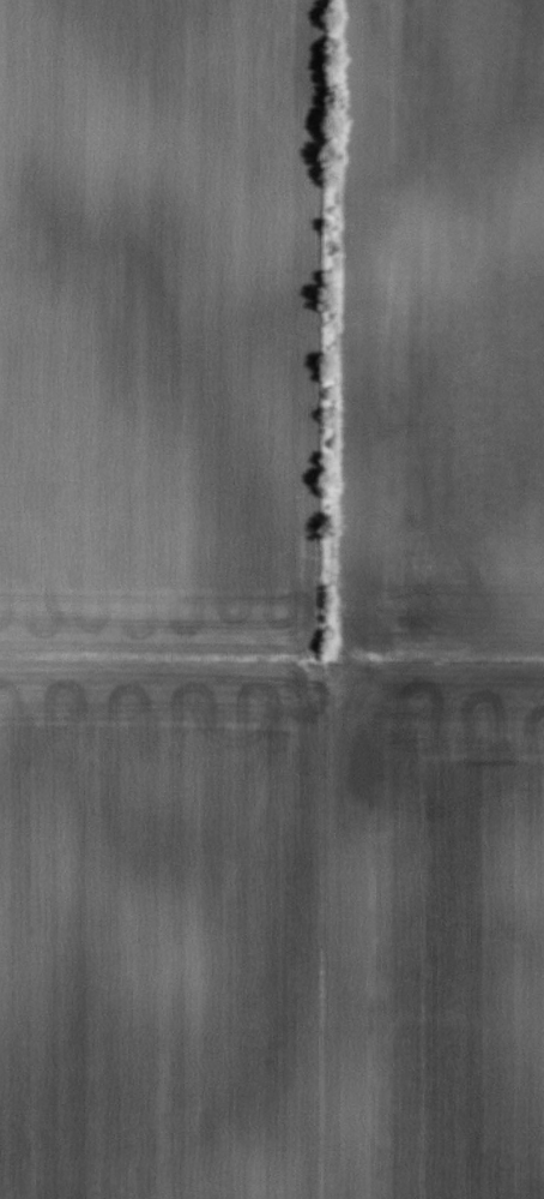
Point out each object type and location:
crop: (272, 599)

